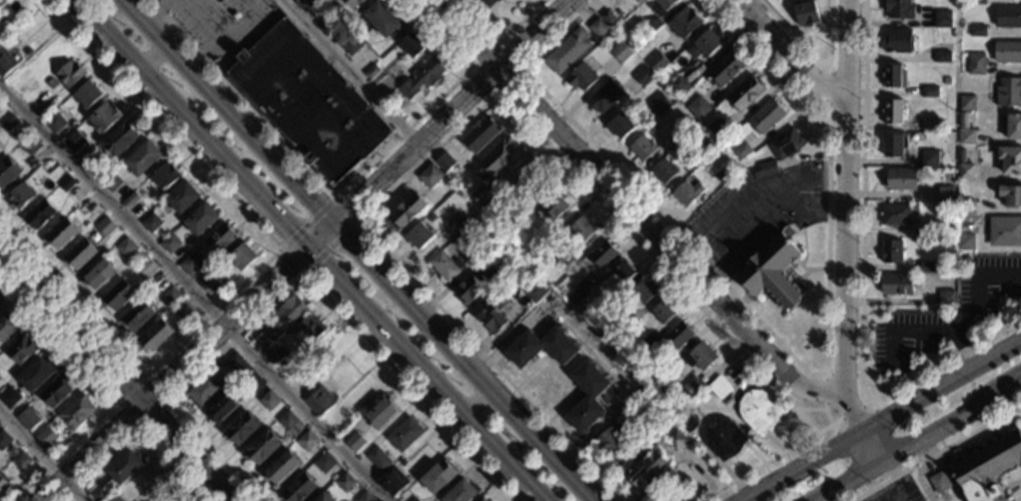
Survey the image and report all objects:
building: (637, 1)
building: (487, 2)
building: (977, 2)
building: (351, 3)
building: (304, 4)
building: (661, 6)
building: (898, 9)
building: (806, 13)
building: (1008, 17)
building: (609, 18)
building: (942, 19)
building: (378, 20)
building: (326, 22)
building: (684, 23)
building: (655, 26)
building: (598, 28)
building: (977, 31)
building: (642, 35)
building: (0, 36)
building: (0, 40)
road: (498, 41)
building: (899, 41)
building: (351, 45)
building: (411, 45)
building: (705, 45)
road: (148, 51)
building: (567, 51)
building: (26, 52)
building: (620, 52)
building: (1007, 52)
road: (790, 54)
building: (942, 56)
road: (814, 58)
building: (5, 61)
building: (657, 62)
building: (976, 64)
road: (520, 69)
building: (724, 70)
road: (350, 72)
building: (370, 72)
building: (68, 74)
building: (581, 75)
building: (642, 76)
building: (894, 76)
building: (422, 78)
building: (945, 81)
building: (51, 83)
building: (679, 85)
road: (827, 90)
building: (929, 91)
building: (1008, 92)
building: (87, 94)
building: (745, 94)
building: (604, 96)
road: (506, 102)
building: (308, 103)
building: (966, 103)
building: (659, 104)
building: (698, 107)
building: (893, 111)
building: (766, 116)
building: (104, 117)
road: (840, 117)
building: (963, 119)
building: (8, 121)
building: (54, 123)
building: (620, 125)
building: (680, 126)
building: (929, 127)
building: (1014, 127)
building: (718, 131)
building: (479, 135)
building: (967, 137)
building: (120, 138)
building: (703, 139)
building: (74, 141)
building: (785, 144)
building: (733, 145)
building: (894, 145)
building: (29, 146)
building: (642, 148)
building: (705, 148)
building: (742, 151)
building: (498, 157)
building: (142, 158)
building: (929, 158)
building: (960, 160)
building: (1010, 160)
building: (444, 161)
building: (92, 162)
building: (47, 163)
building: (765, 170)
building: (663, 171)
building: (7, 172)
building: (965, 172)
building: (722, 174)
building: (164, 176)
building: (430, 176)
building: (901, 179)
building: (111, 182)
building: (527, 182)
building: (66, 184)
road: (338, 191)
building: (687, 193)
building: (479, 194)
building: (944, 194)
building: (19, 196)
road: (843, 196)
building: (1011, 196)
building: (182, 197)
building: (130, 200)
building: (554, 205)
building: (966, 207)
building: (914, 208)
road: (345, 209)
road: (627, 211)
building: (405, 212)
road: (769, 213)
building: (39, 214)
building: (896, 215)
building: (201, 219)
road: (307, 221)
building: (150, 222)
road: (717, 222)
building: (105, 226)
building: (506, 228)
building: (581, 228)
building: (934, 230)
building: (1005, 231)
building: (59, 234)
building: (418, 236)
building: (547, 237)
building: (218, 238)
building: (965, 242)
building: (168, 243)
road: (330, 246)
building: (125, 247)
road: (359, 250)
road: (310, 251)
building: (480, 251)
building: (891, 251)
road: (305, 252)
building: (79, 254)
building: (601, 254)
building: (242, 256)
road: (292, 259)
building: (189, 265)
building: (444, 266)
road: (259, 267)
building: (537, 267)
building: (927, 267)
building: (145, 268)
building: (772, 271)
building: (623, 272)
building: (98, 275)
road: (299, 275)
building: (209, 284)
building: (473, 284)
building: (896, 284)
road: (860, 288)
building: (579, 289)
road: (196, 291)
building: (534, 292)
building: (643, 292)
building: (117, 295)
building: (170, 295)
building: (946, 299)
building: (610, 300)
building: (182, 309)
building: (662, 312)
building: (136, 316)
building: (492, 317)
building: (627, 320)
building: (281, 321)
building: (6, 326)
building: (309, 328)
building: (678, 334)
building: (155, 336)
building: (648, 341)
road: (779, 343)
building: (541, 347)
building: (21, 349)
building: (273, 356)
building: (700, 357)
building: (236, 364)
building: (36, 374)
road: (118, 374)
road: (825, 374)
building: (251, 381)
building: (329, 382)
building: (691, 386)
building: (719, 387)
building: (204, 389)
building: (662, 389)
road: (942, 390)
building: (55, 391)
road: (109, 391)
building: (9, 397)
road: (473, 397)
building: (587, 397)
building: (268, 400)
building: (318, 401)
road: (166, 402)
road: (971, 405)
building: (221, 409)
building: (758, 410)
road: (825, 410)
building: (76, 411)
building: (381, 412)
road: (850, 412)
road: (852, 414)
building: (24, 415)
building: (336, 419)
building: (287, 420)
building: (686, 421)
building: (613, 425)
road: (138, 427)
building: (241, 428)
building: (404, 434)
building: (43, 435)
building: (673, 438)
building: (723, 438)
building: (4, 440)
building: (306, 441)
building: (354, 441)
building: (607, 443)
road: (901, 443)
road: (873, 445)
building: (261, 448)
road: (936, 452)
road: (41, 456)
building: (377, 459)
building: (21, 460)
building: (323, 462)
building: (401, 462)
building: (987, 467)
building: (281, 468)
road: (806, 468)
road: (920, 468)
building: (122, 469)
building: (649, 469)
building: (438, 475)
road: (892, 475)
road: (843, 477)
building: (344, 482)
building: (392, 482)
building: (939, 482)
building: (3, 484)
road: (1010, 484)
building: (299, 489)
road: (1020, 490)
building: (460, 492)
parking lot: (899, 492)
building: (98, 493)
building: (324, 497)
building: (364, 497)
road: (819, 497)
building: (116, 498)
building: (481, 499)
road: (897, 499)
road: (901, 499)
building: (155, 500)
building: (414, 500)

